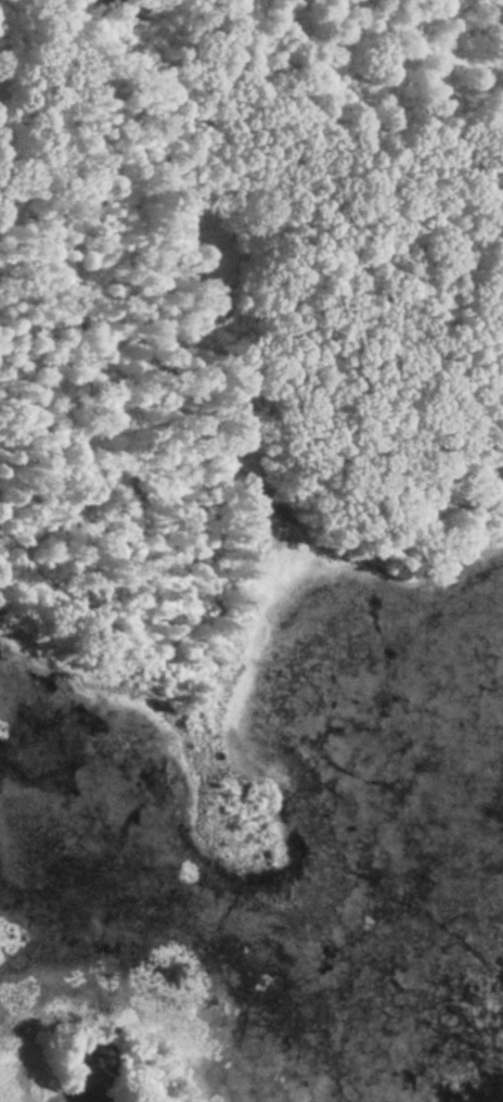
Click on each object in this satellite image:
building: (91, 1076)

